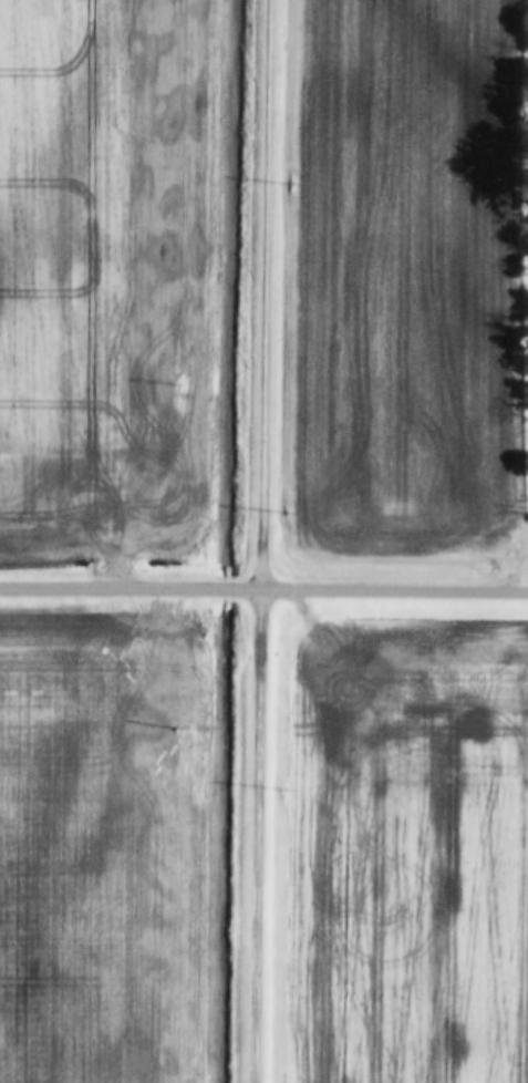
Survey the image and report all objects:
road: (250, 540)
road: (263, 589)

